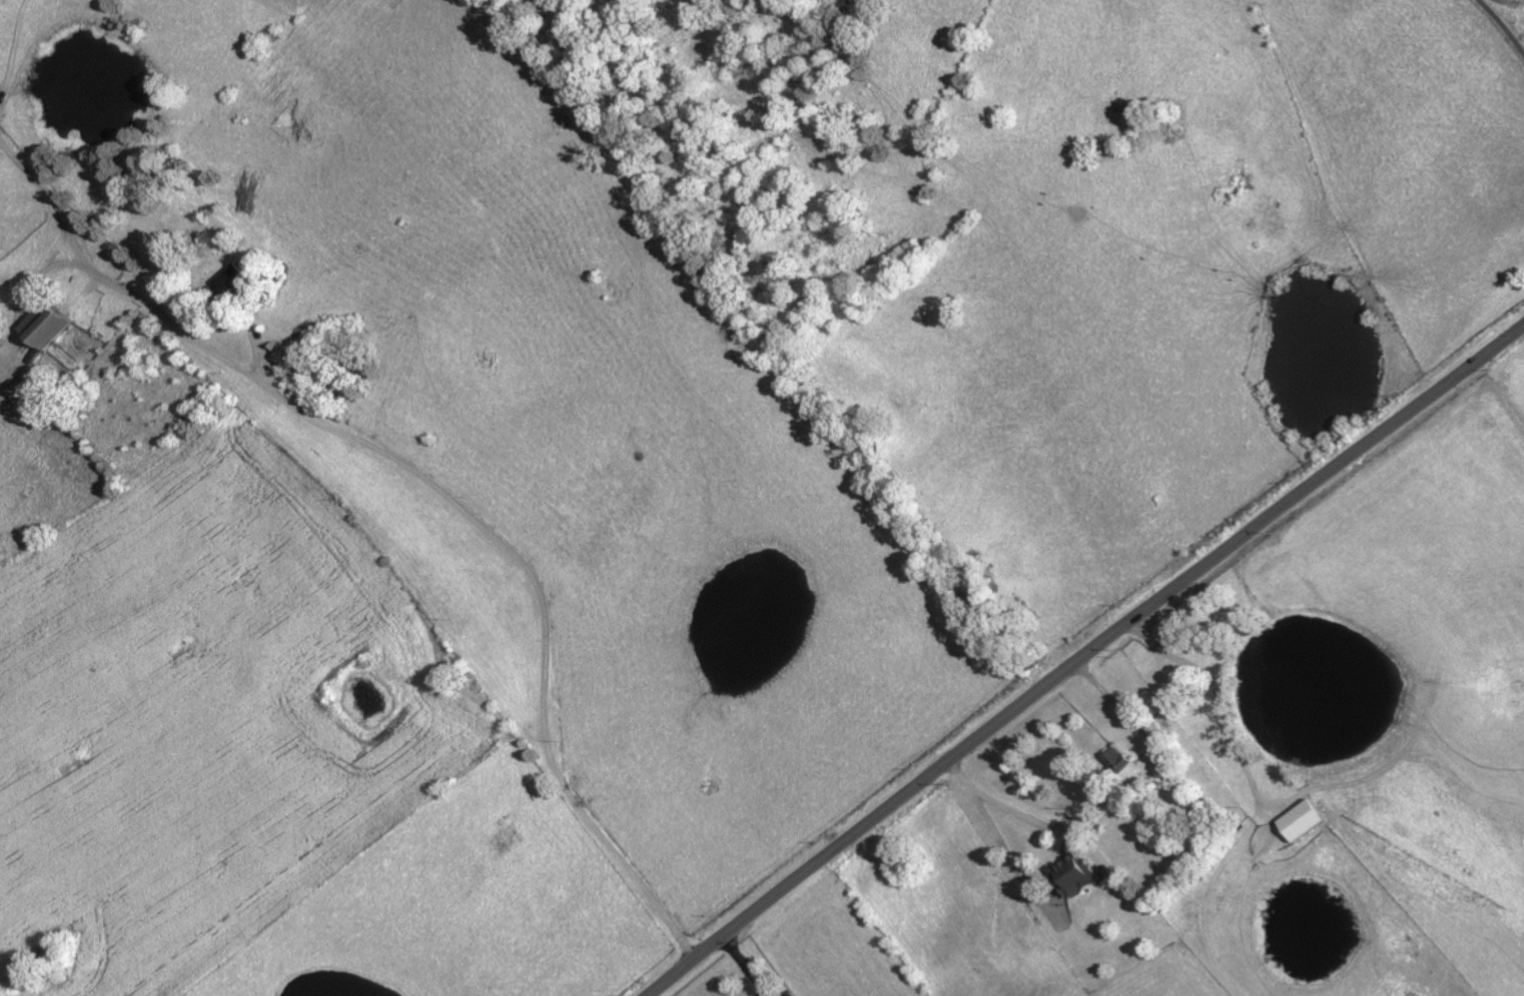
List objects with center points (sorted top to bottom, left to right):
road: (1504, 24)
building: (232, 278)
building: (45, 328)
road: (427, 507)
road: (1085, 658)
road: (1007, 808)
building: (1303, 821)
building: (1074, 876)

